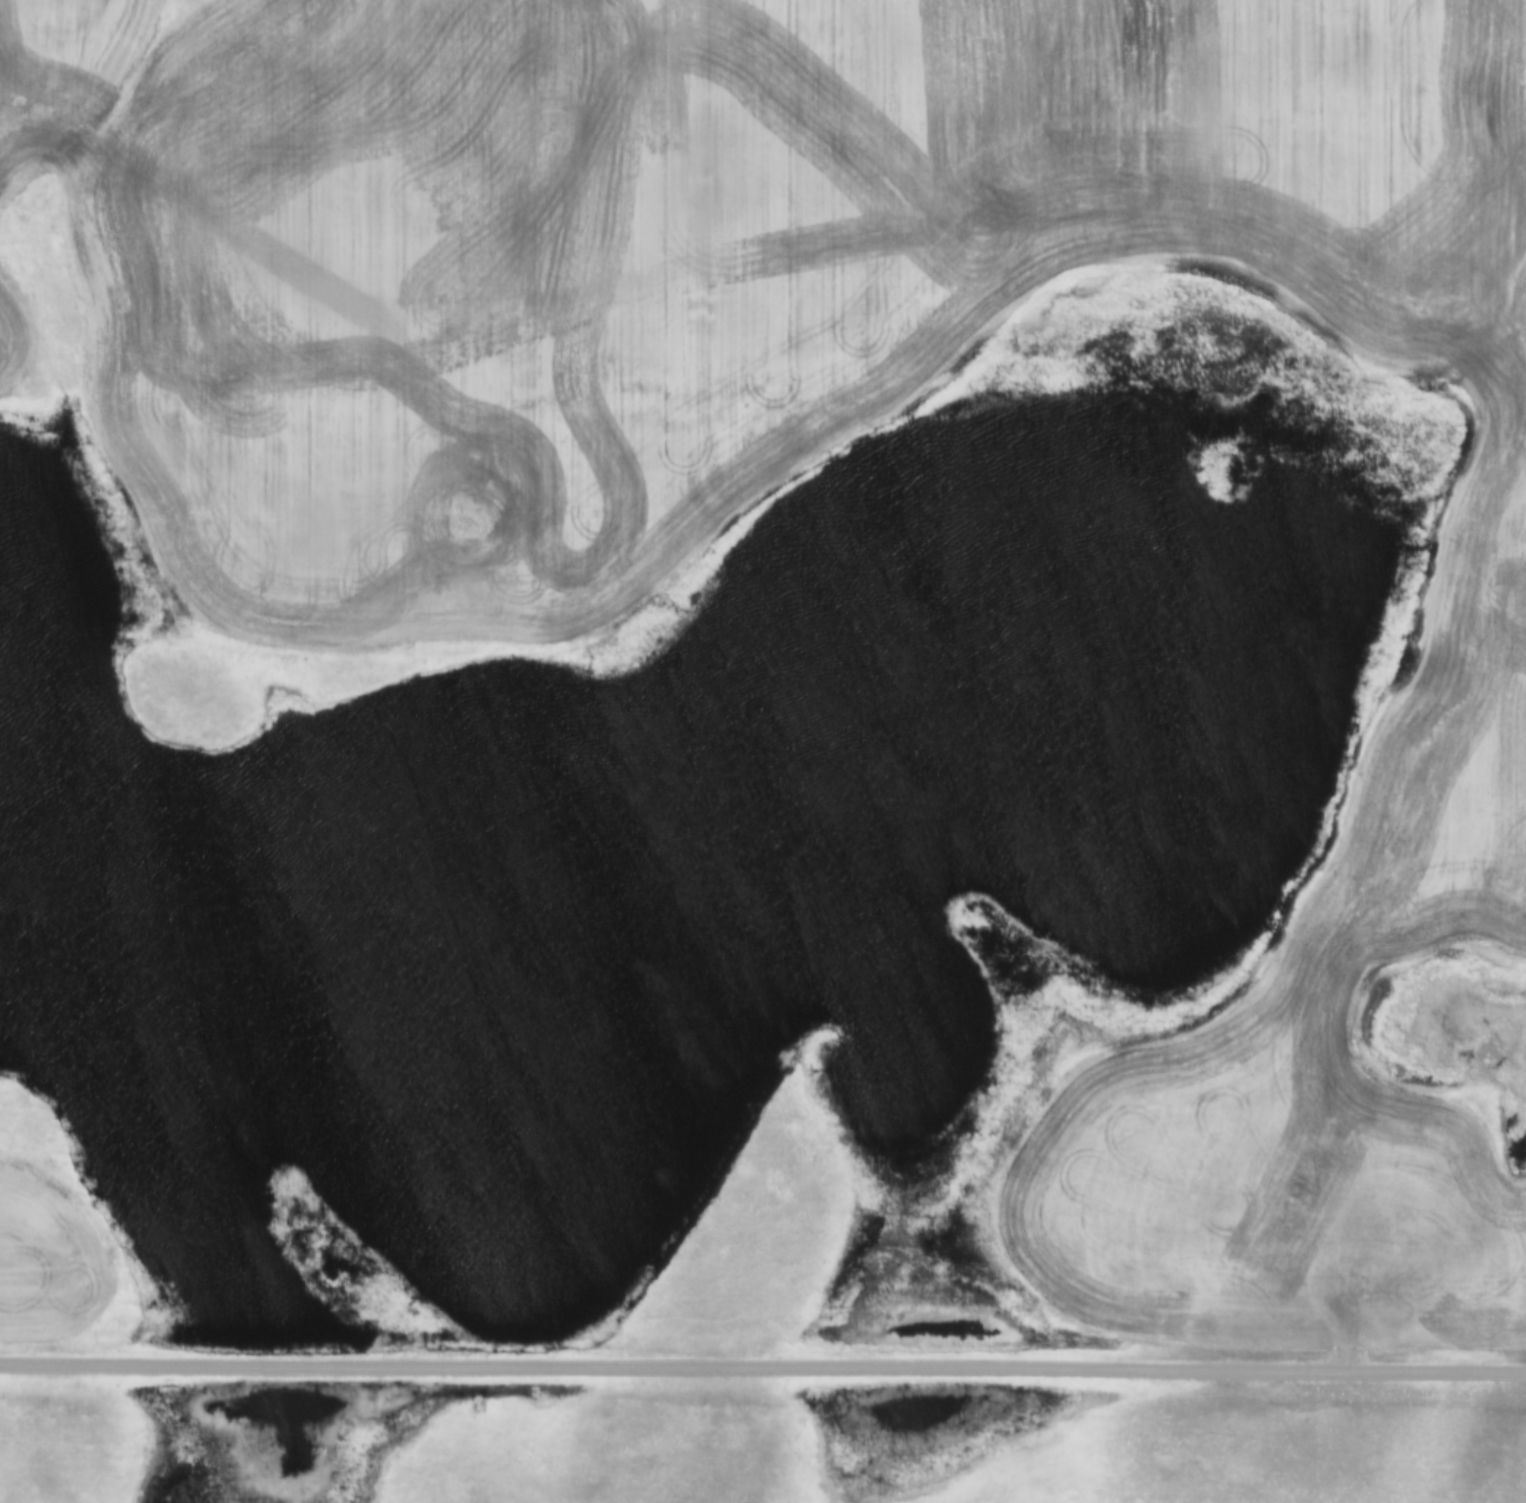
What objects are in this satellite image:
road: (763, 1366)

